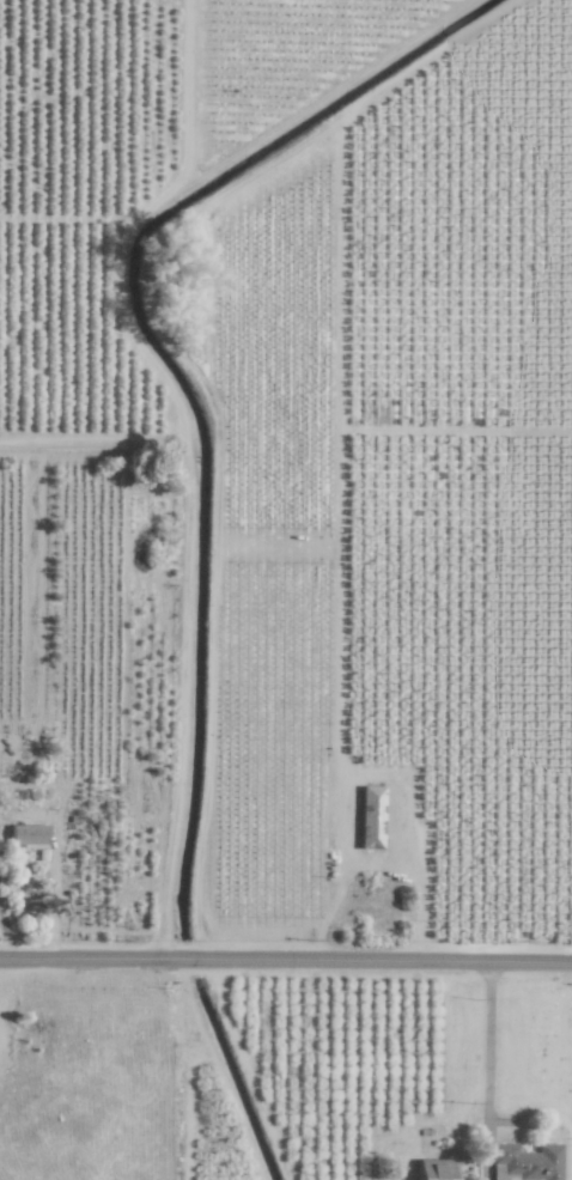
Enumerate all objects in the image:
road: (195, 182)
road: (170, 625)
building: (369, 819)
building: (26, 835)
road: (286, 969)
road: (485, 1075)
building: (524, 1163)
building: (432, 1169)

